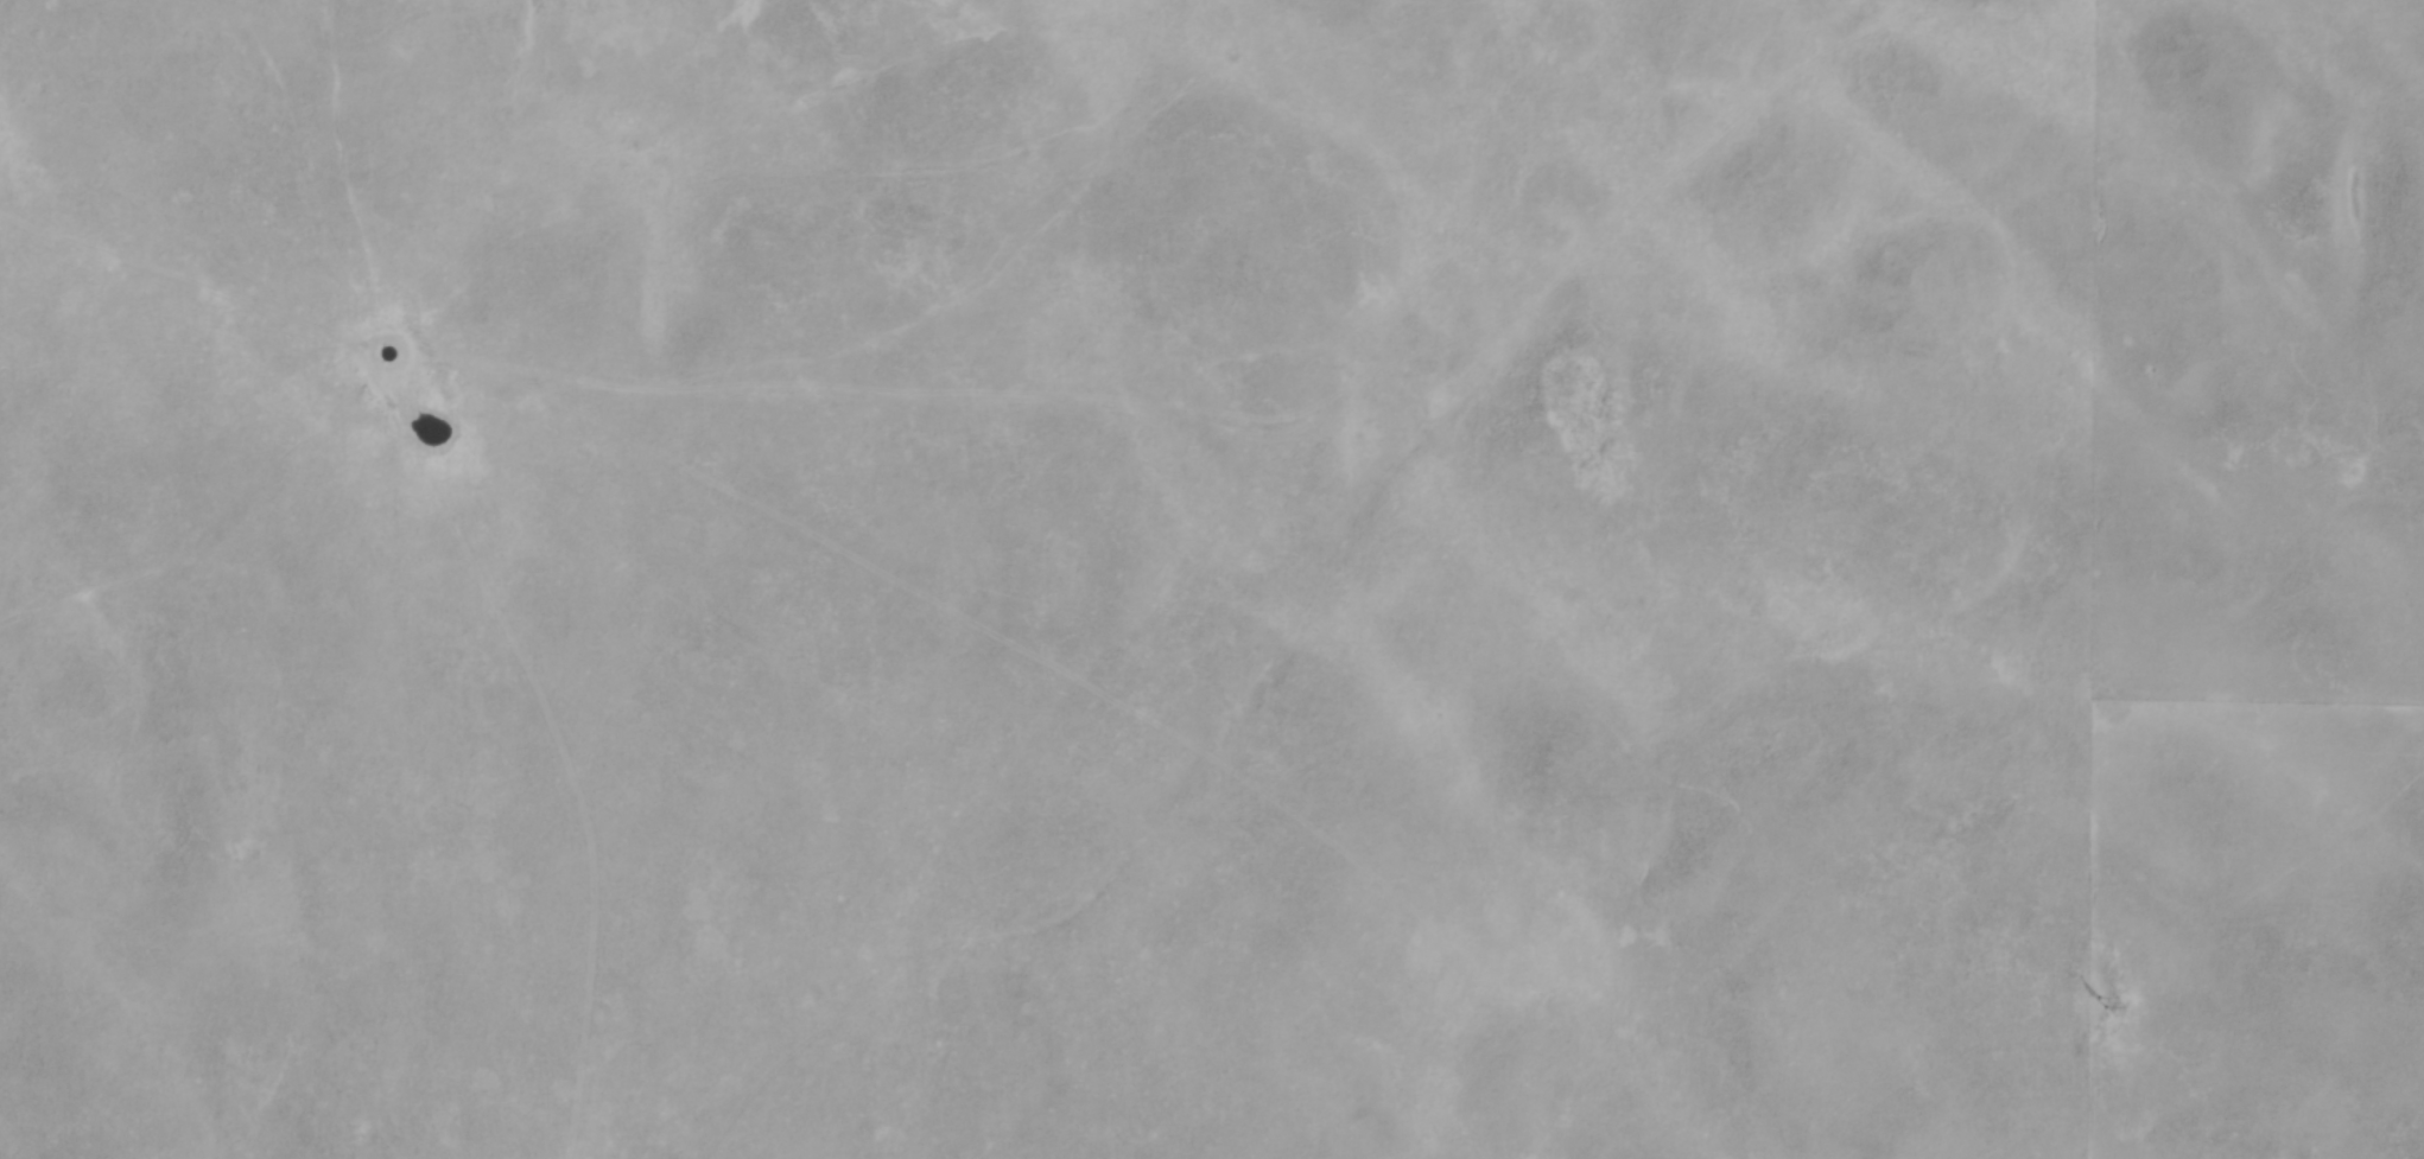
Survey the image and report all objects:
power tower: (2102, 1002)

